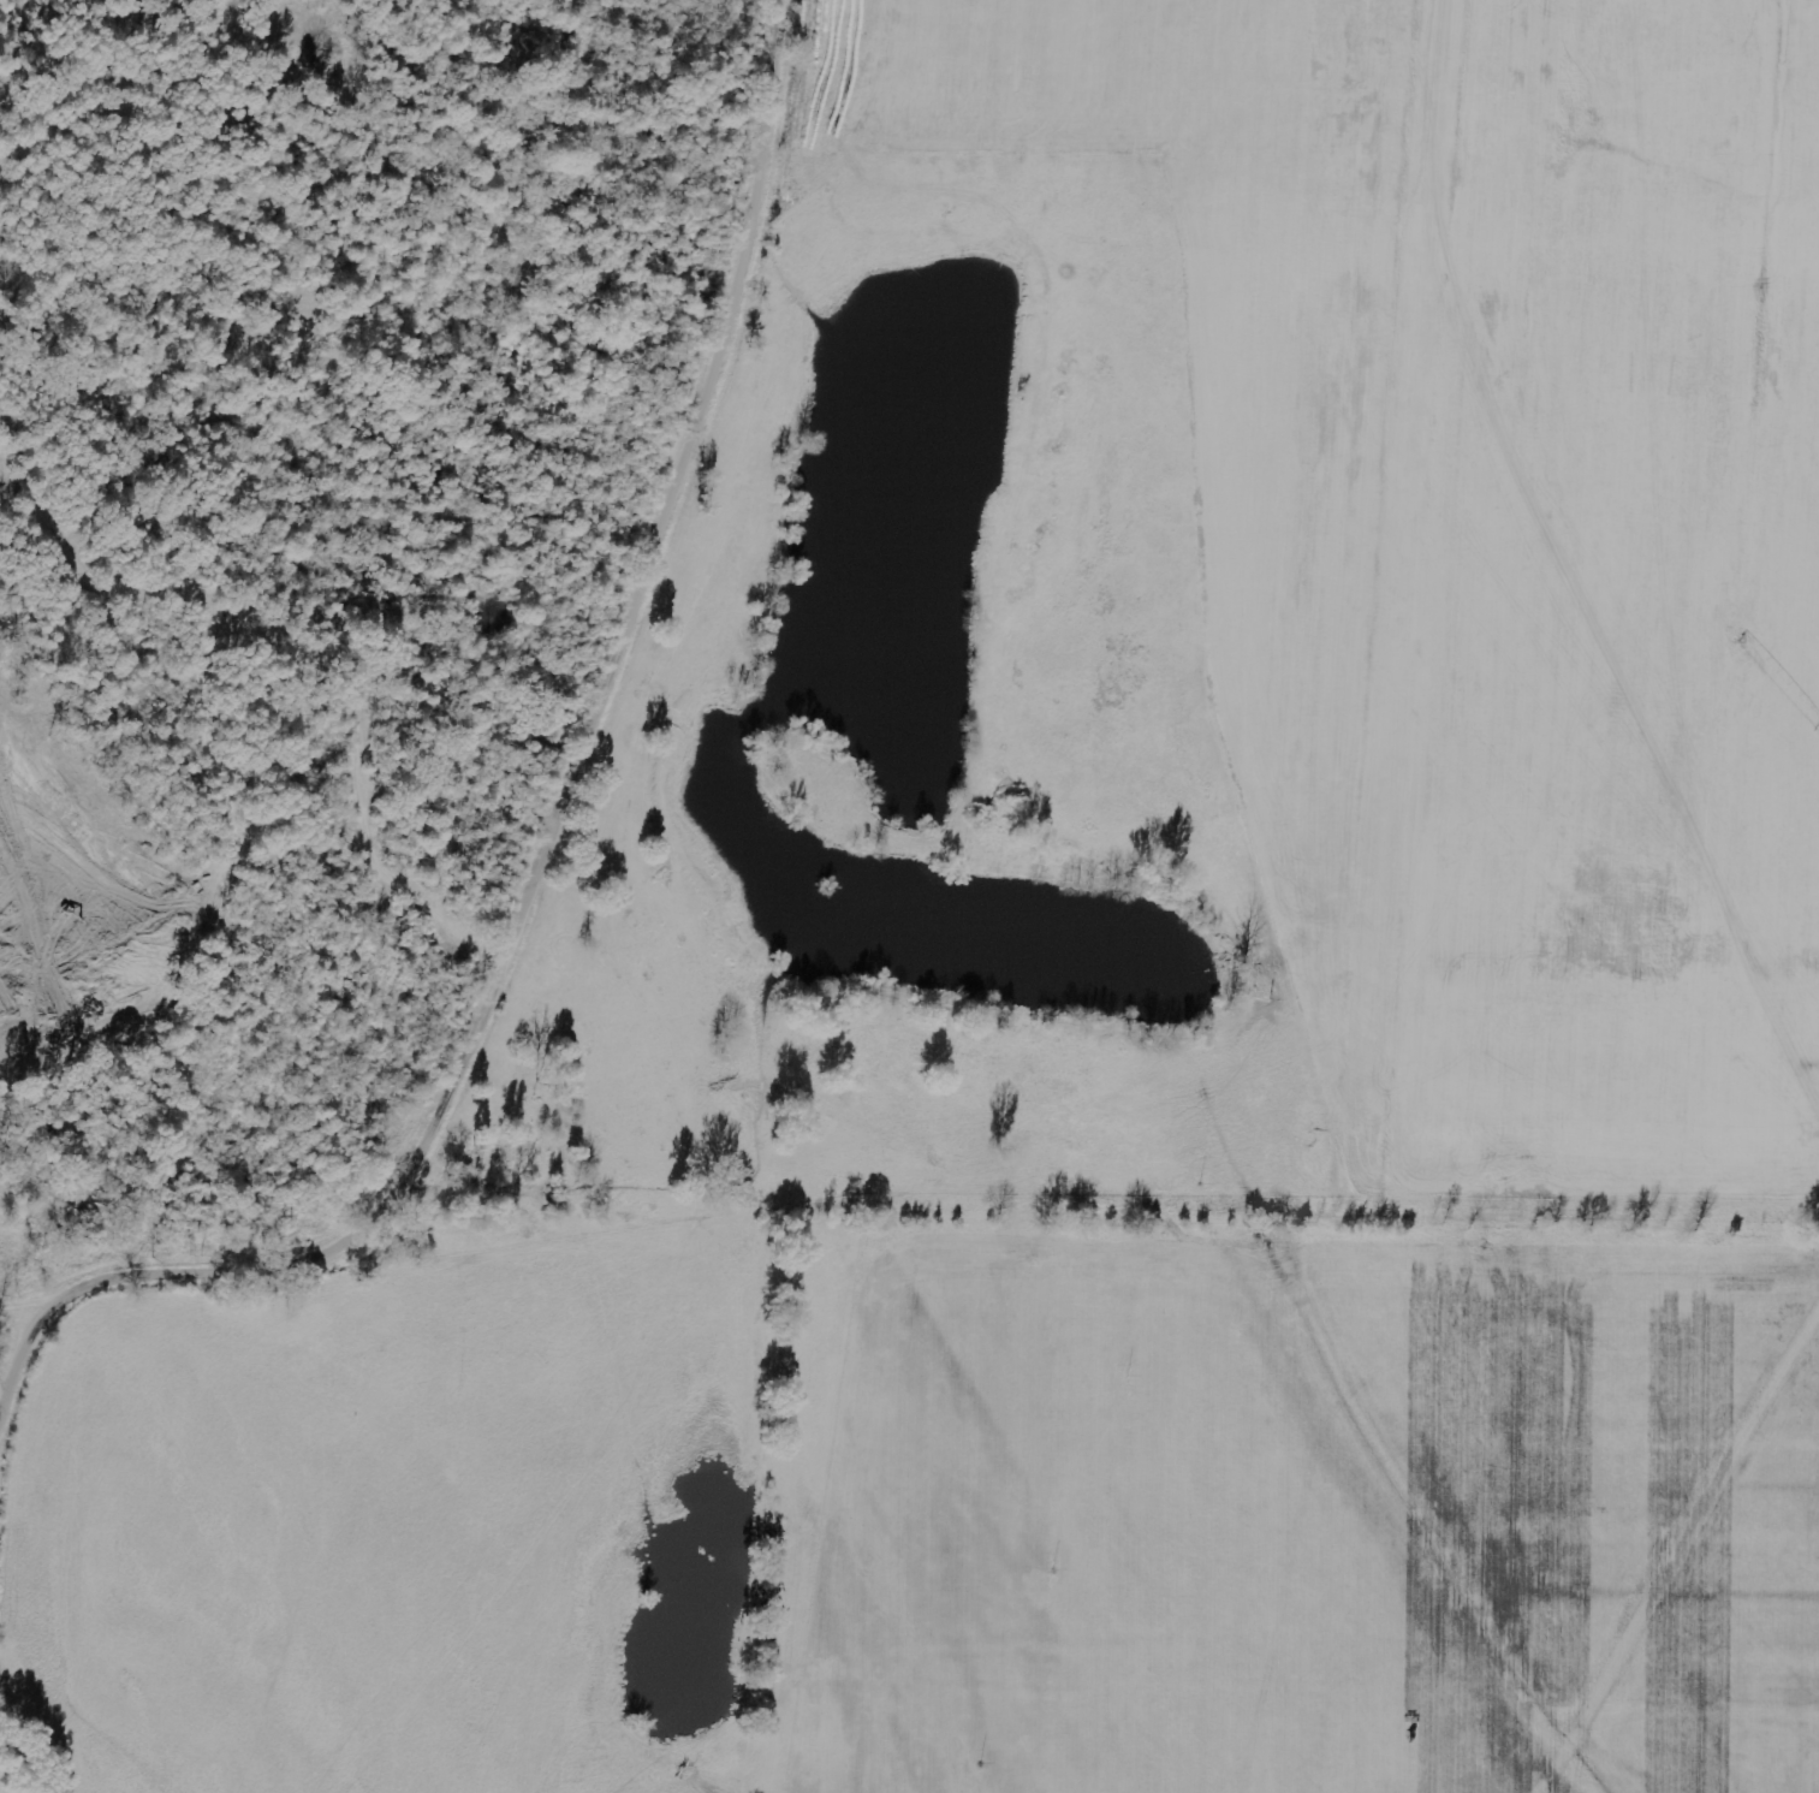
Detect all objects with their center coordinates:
road: (352, 979)

